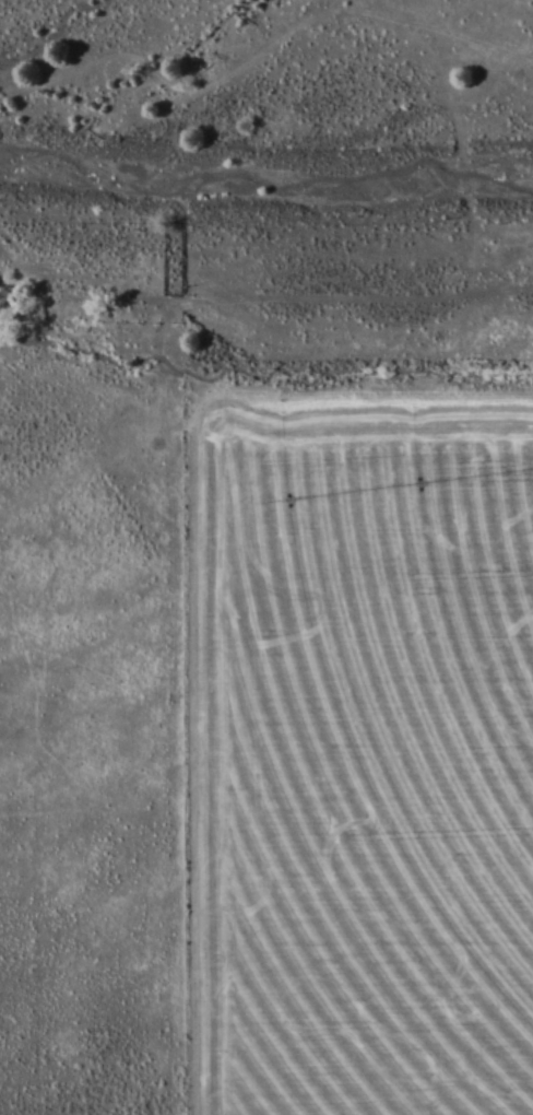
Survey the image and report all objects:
road: (364, 368)

